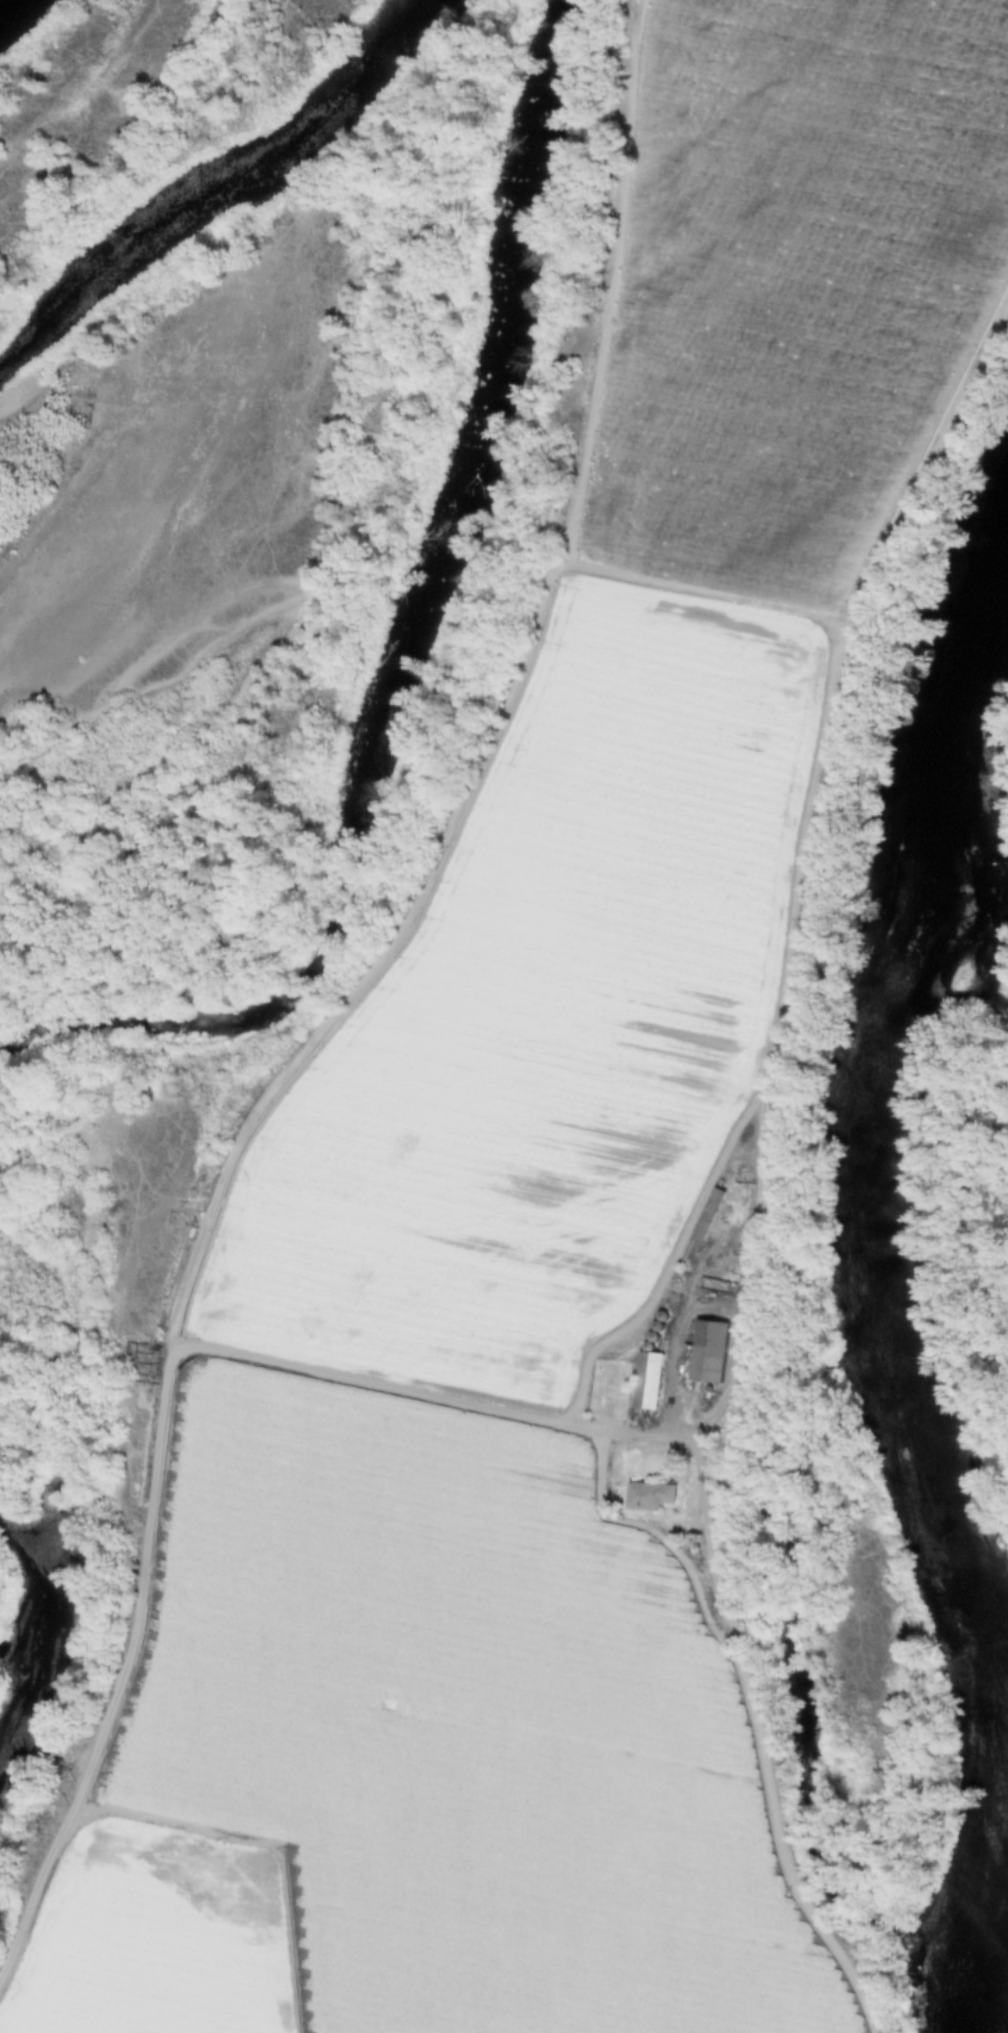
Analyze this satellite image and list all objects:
building: (711, 1215)
building: (708, 1353)
building: (611, 1389)
road: (166, 1407)
road: (733, 1621)

